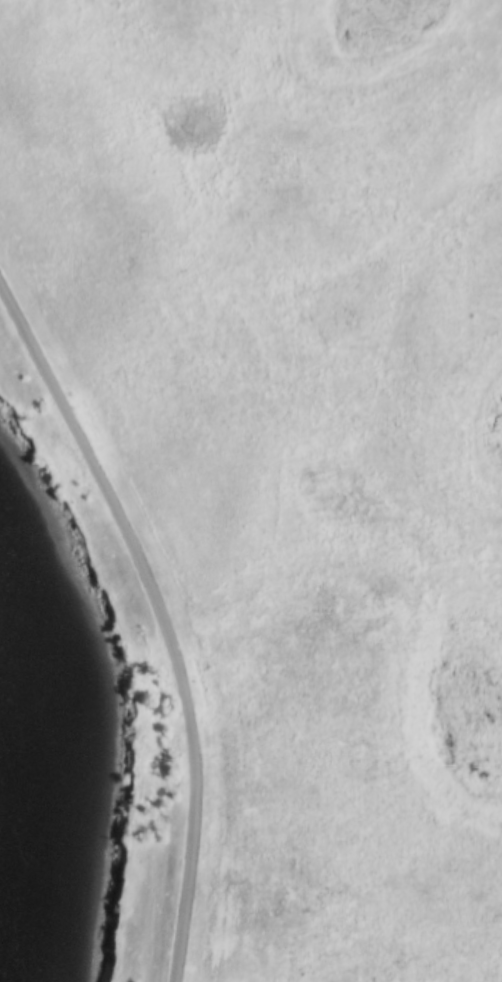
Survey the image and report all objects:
road: (164, 615)

